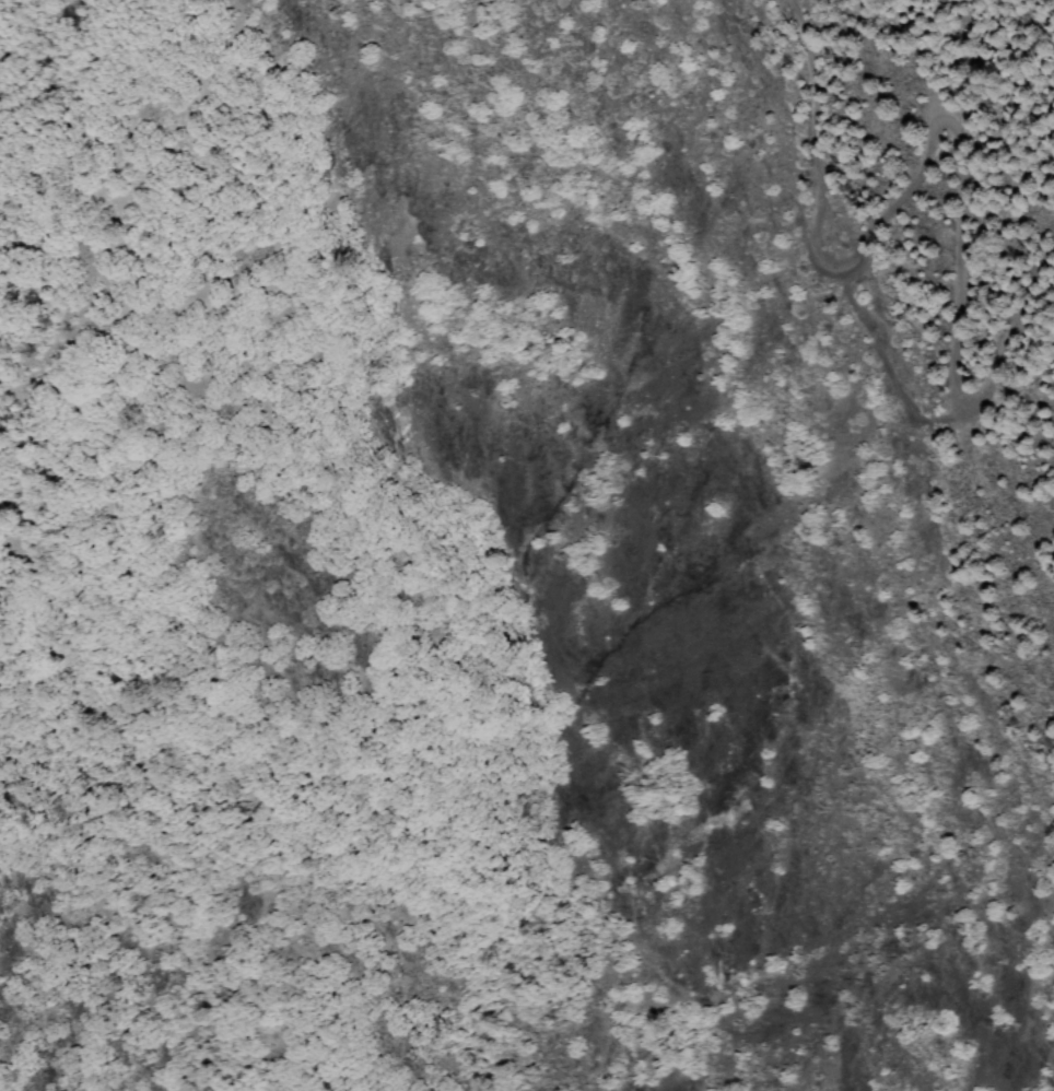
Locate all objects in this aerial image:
road: (946, 116)

